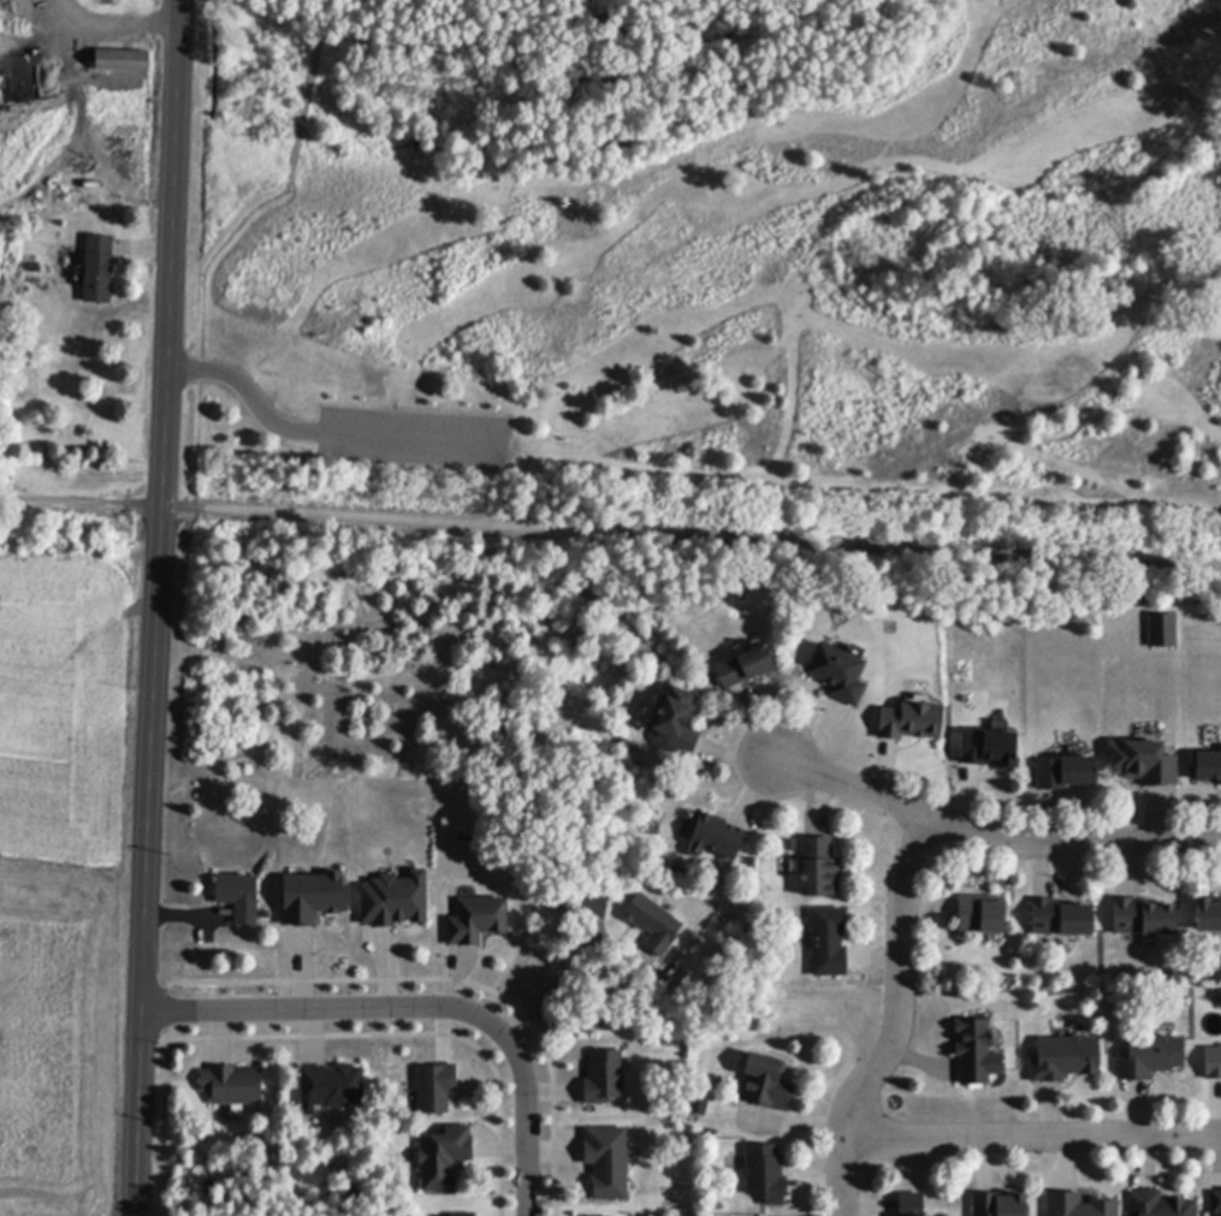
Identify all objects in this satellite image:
road: (113, 22)
building: (0, 26)
building: (123, 61)
road: (309, 91)
park: (710, 263)
building: (99, 271)
road: (200, 326)
road: (321, 432)
parking lot: (415, 438)
road: (610, 532)
road: (155, 607)
building: (1162, 631)
building: (747, 666)
building: (837, 674)
building: (676, 722)
building: (911, 723)
building: (989, 751)
building: (1144, 764)
building: (1207, 767)
building: (1066, 775)
road: (990, 835)
building: (717, 837)
building: (819, 868)
crop: (67, 871)
building: (239, 898)
building: (313, 898)
building: (395, 901)
building: (593, 906)
building: (982, 915)
building: (1208, 915)
building: (1061, 919)
building: (1144, 920)
building: (476, 921)
building: (653, 925)
building: (829, 943)
road: (553, 981)
road: (322, 1009)
road: (896, 1021)
building: (976, 1052)
building: (1150, 1058)
building: (1065, 1060)
building: (1213, 1064)
building: (604, 1078)
building: (766, 1084)
building: (232, 1086)
building: (332, 1087)
building: (435, 1087)
building: (698, 1107)
road: (524, 1119)
road: (1031, 1134)
building: (444, 1158)
building: (605, 1159)
building: (765, 1175)
building: (1216, 1203)
building: (911, 1204)
building: (1000, 1205)
building: (1158, 1205)
building: (1078, 1206)
building: (466, 1215)

